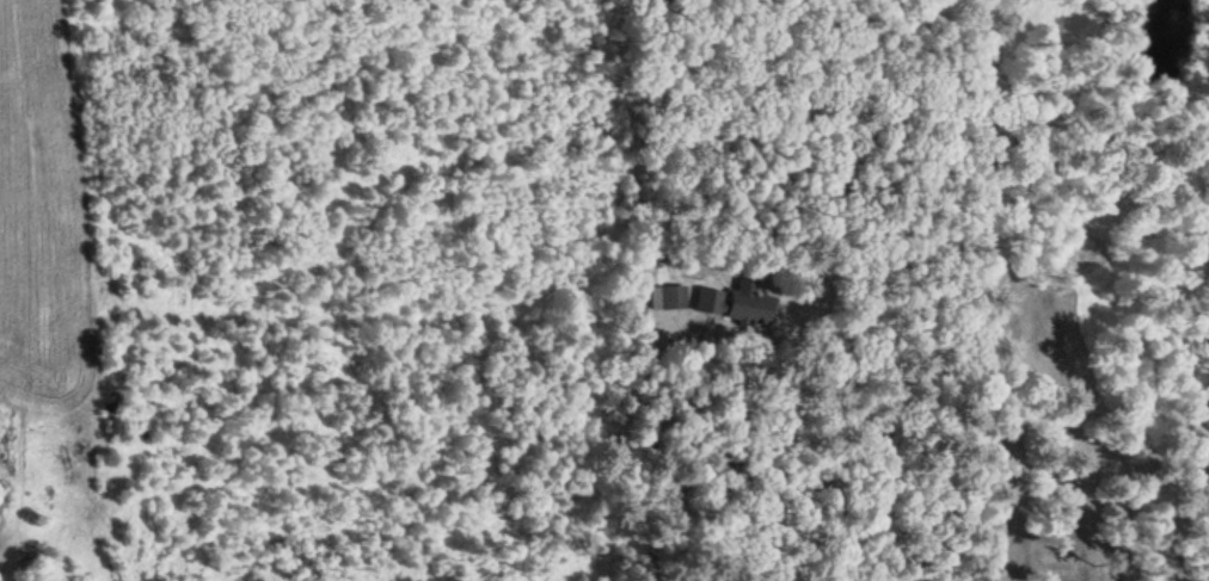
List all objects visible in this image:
building: (668, 297)
building: (736, 305)

